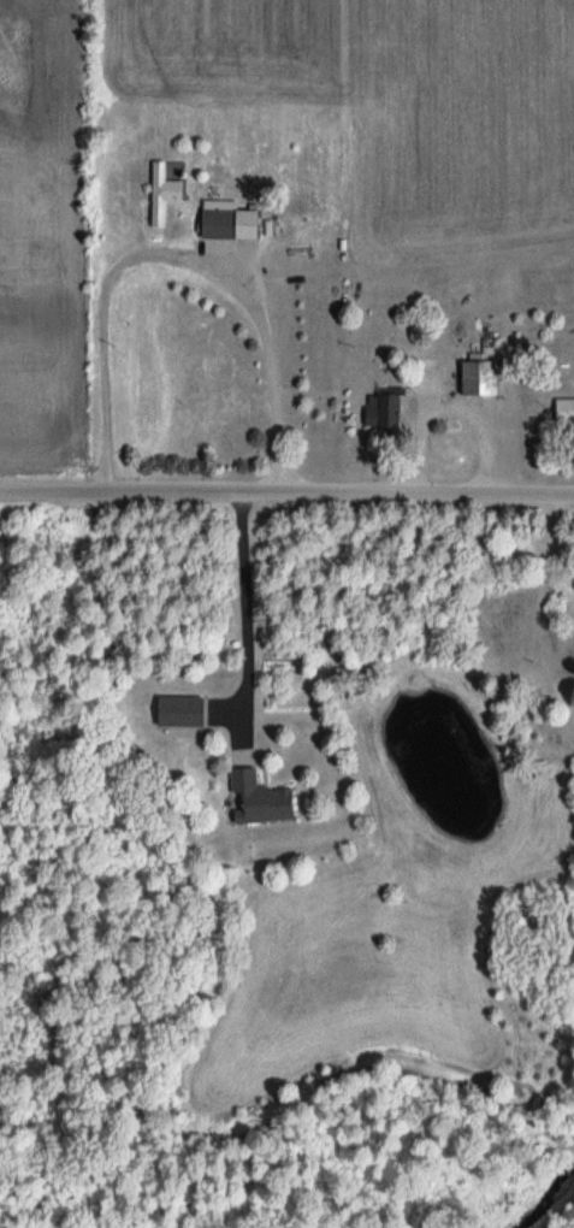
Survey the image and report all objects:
building: (164, 193)
building: (221, 223)
road: (168, 253)
building: (484, 371)
building: (387, 408)
building: (564, 411)
road: (286, 485)
road: (244, 604)
building: (183, 710)
building: (262, 799)

